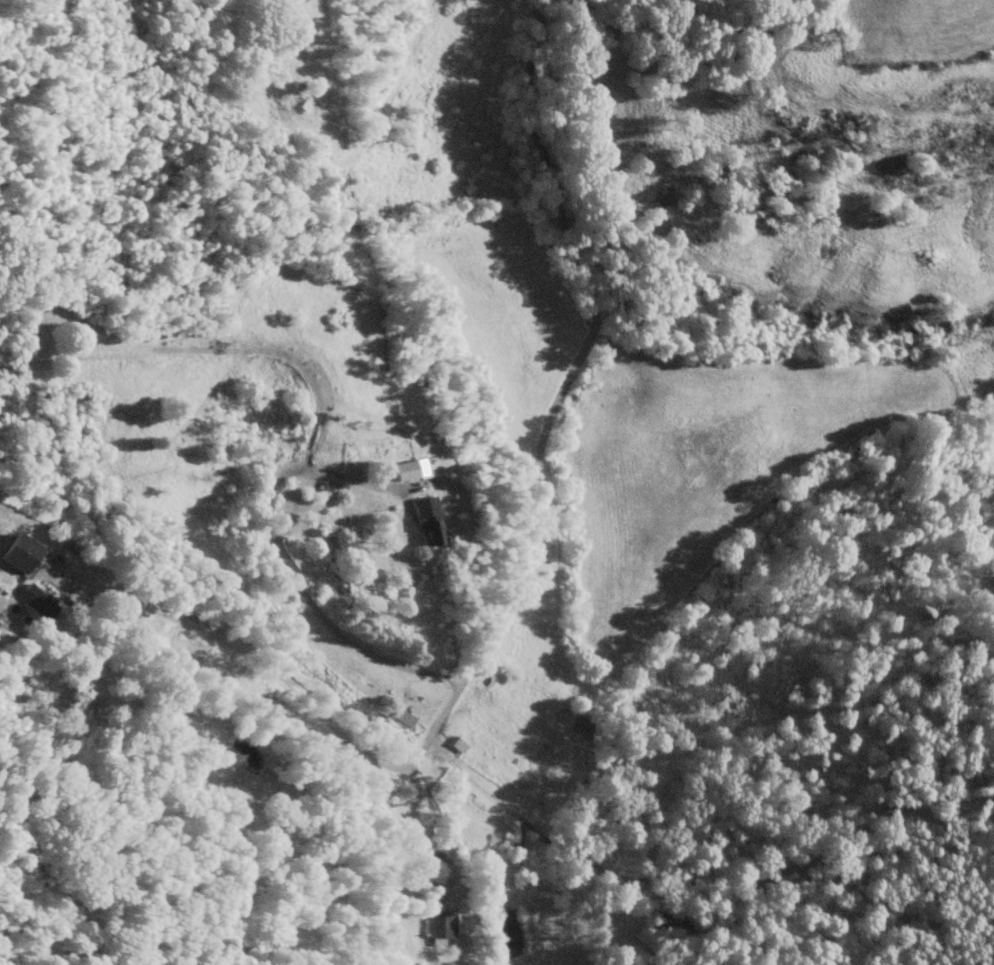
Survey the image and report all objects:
road: (537, 426)
road: (279, 565)
road: (245, 651)

